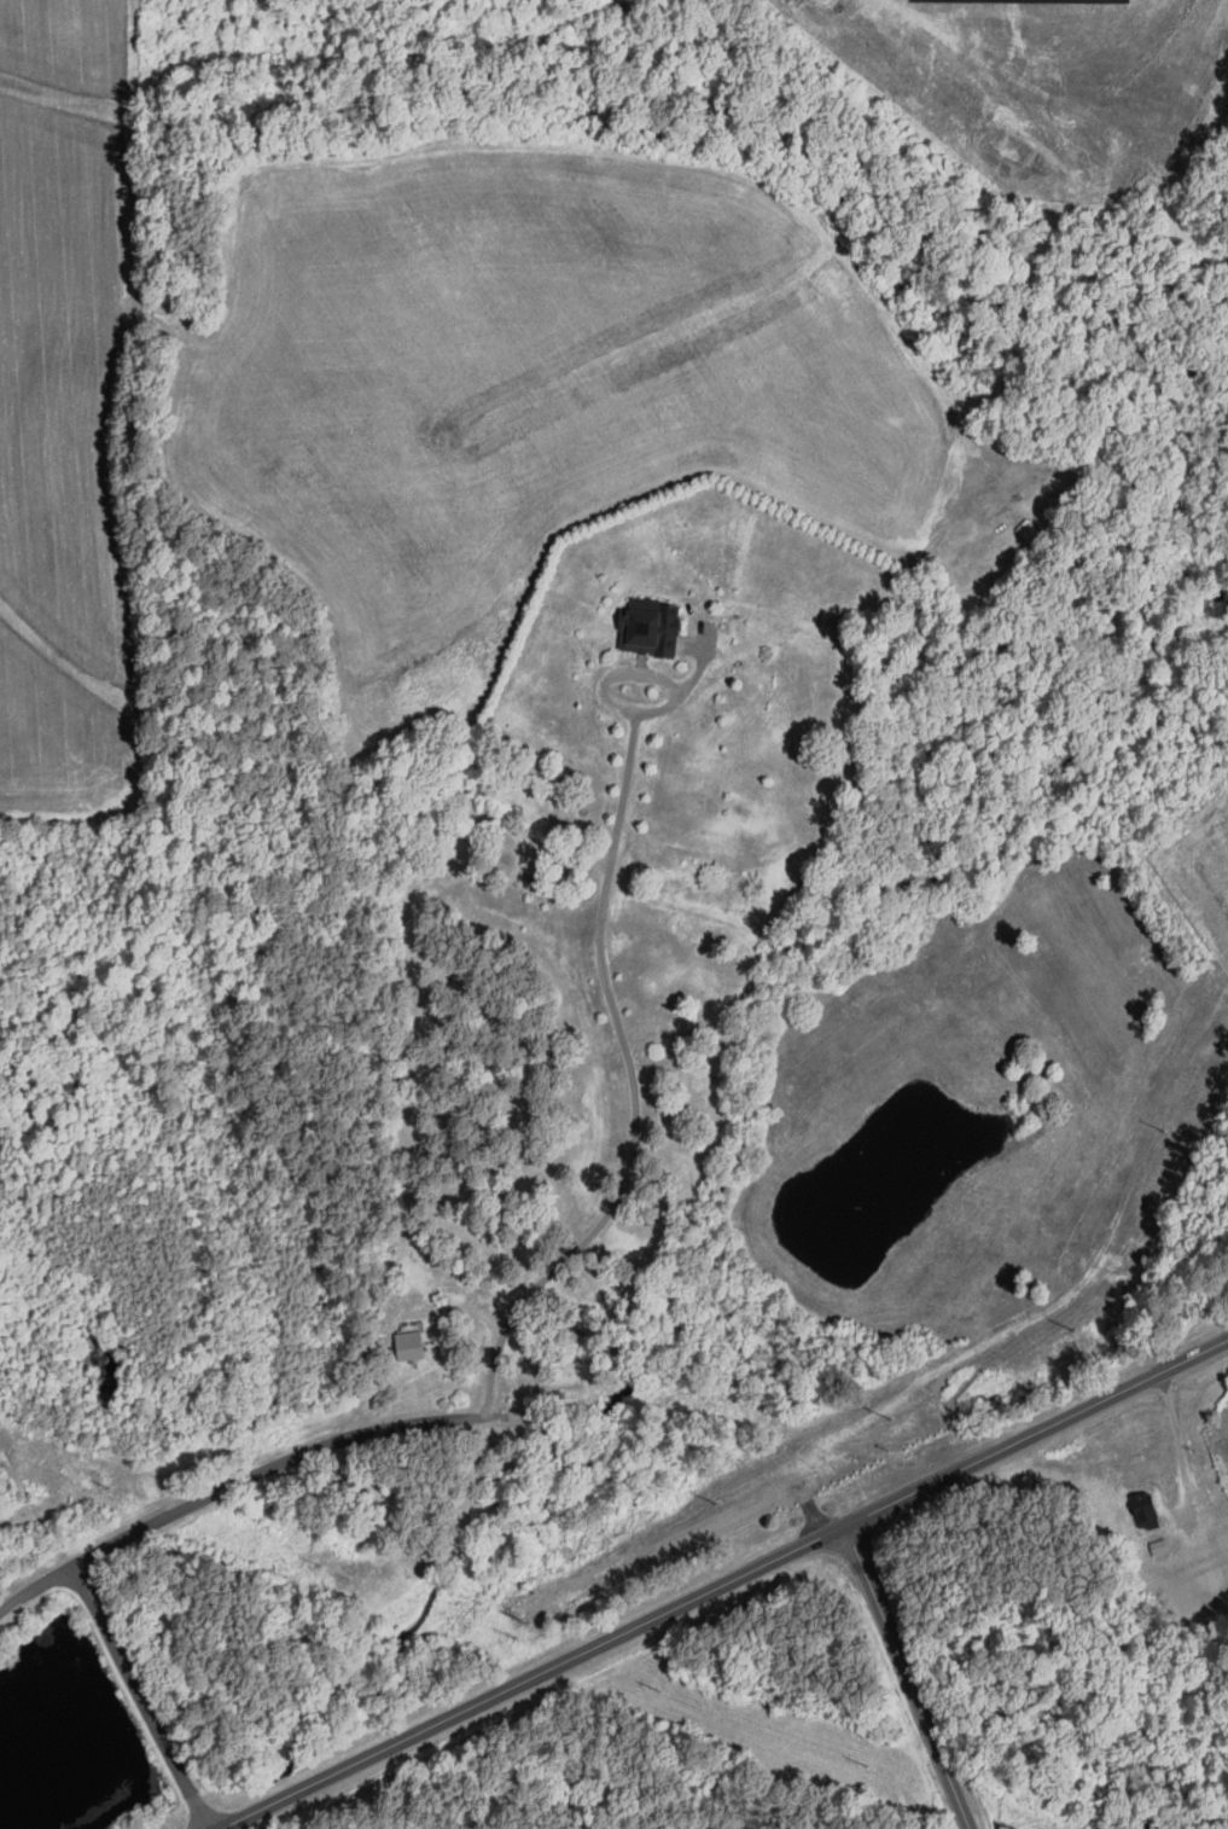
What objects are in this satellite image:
building: (1029, 529)
building: (651, 627)
road: (628, 1033)
building: (412, 1345)
road: (1180, 1444)
road: (272, 1468)
building: (1147, 1510)
road: (723, 1581)
road: (904, 1676)
road: (141, 1697)

